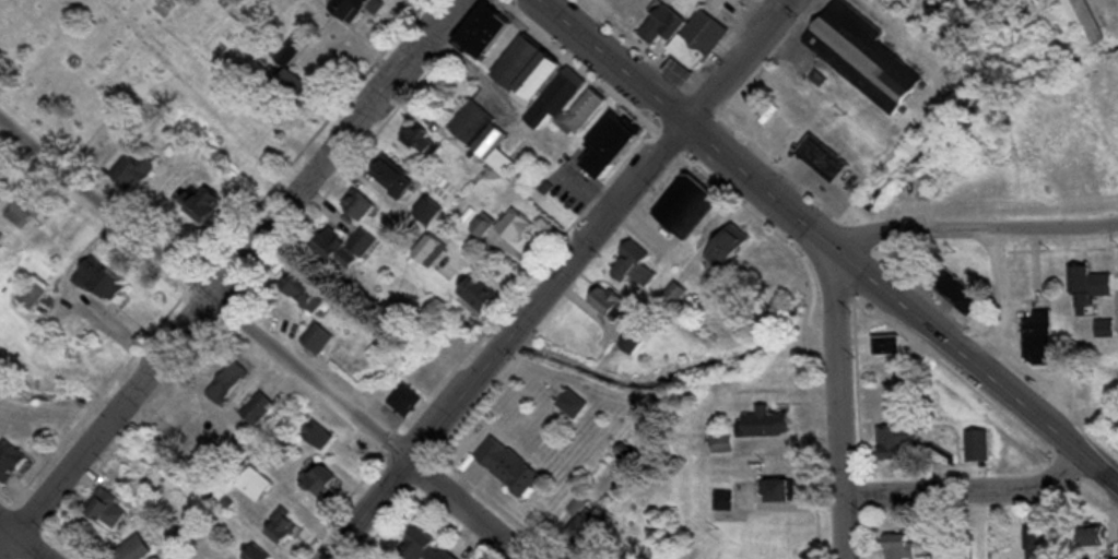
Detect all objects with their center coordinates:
building: (355, 10)
building: (1084, 22)
building: (661, 23)
building: (479, 29)
building: (701, 37)
building: (858, 53)
road: (739, 59)
building: (525, 69)
building: (678, 71)
building: (1111, 79)
building: (568, 103)
road: (695, 123)
building: (483, 135)
building: (605, 143)
building: (825, 156)
building: (133, 171)
building: (391, 176)
building: (198, 203)
building: (357, 204)
building: (684, 206)
building: (505, 225)
road: (976, 231)
building: (726, 245)
building: (345, 248)
building: (429, 250)
building: (634, 265)
road: (231, 275)
building: (98, 281)
building: (1091, 288)
building: (955, 289)
building: (304, 292)
building: (33, 293)
building: (476, 294)
building: (675, 295)
building: (610, 301)
building: (1031, 319)
building: (1107, 329)
building: (317, 338)
road: (511, 340)
road: (262, 342)
building: (888, 345)
road: (979, 367)
building: (227, 381)
building: (405, 400)
building: (573, 403)
road: (840, 405)
building: (259, 407)
building: (766, 421)
building: (317, 435)
building: (896, 439)
building: (721, 441)
building: (979, 445)
building: (11, 463)
building: (507, 466)
building: (318, 479)
building: (254, 483)
building: (775, 489)
road: (968, 490)
building: (107, 507)
building: (585, 522)
building: (281, 525)
building: (1093, 534)
road: (23, 538)
building: (899, 546)
building: (424, 547)
building: (132, 548)
building: (256, 551)
building: (1115, 558)

